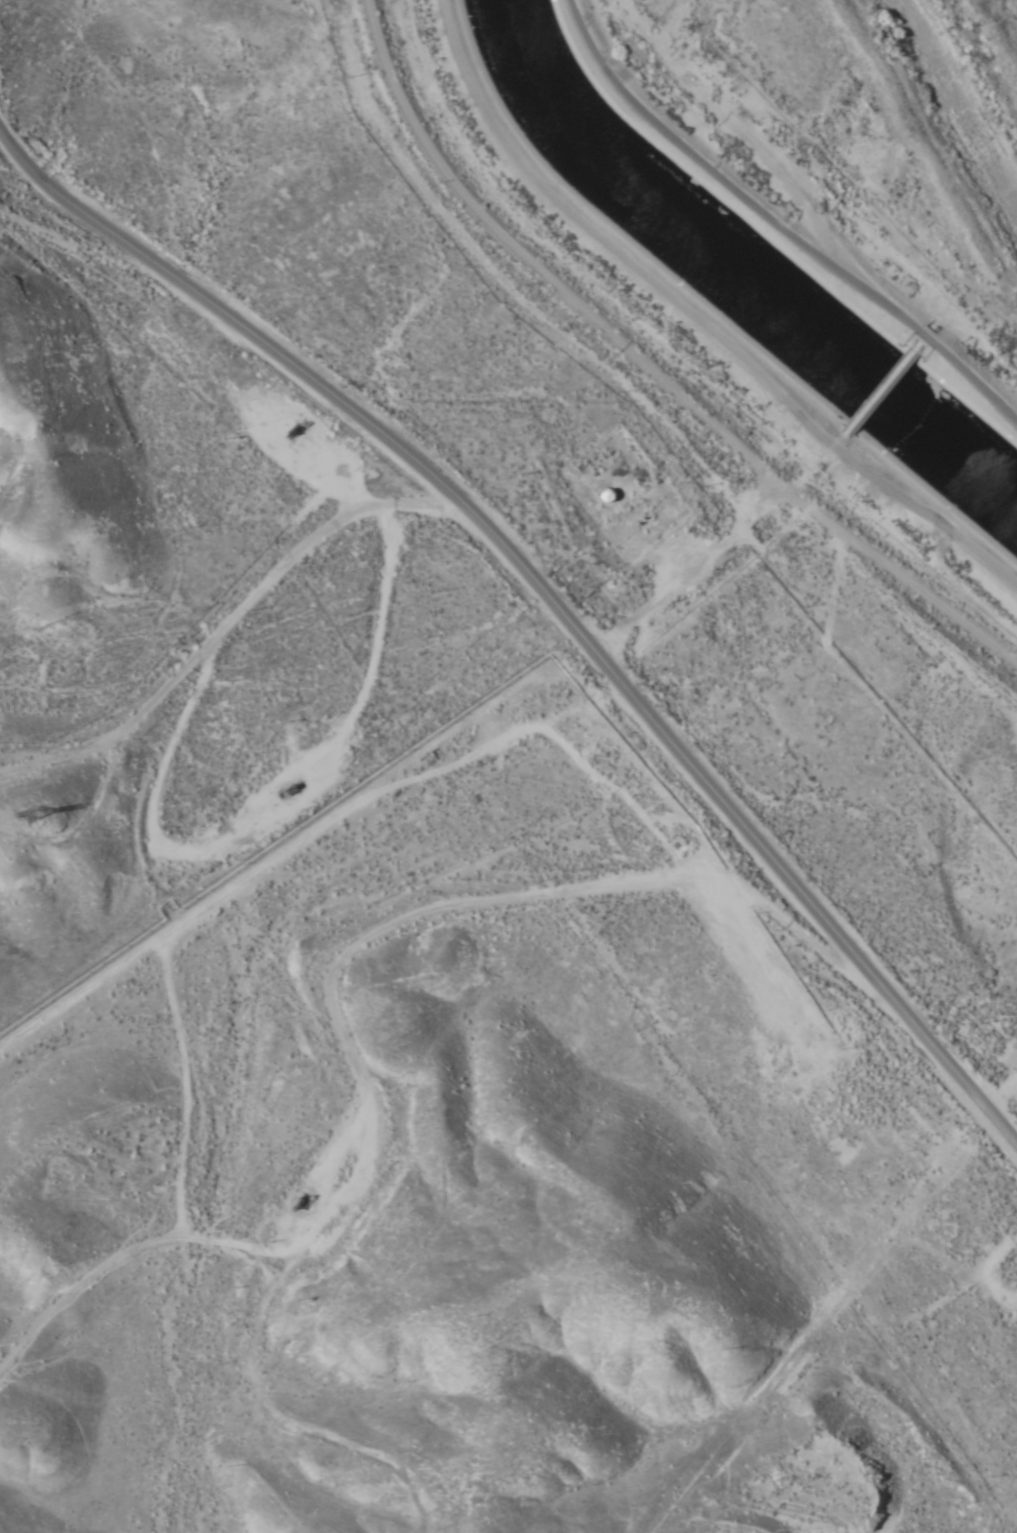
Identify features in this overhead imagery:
road: (792, 217)
road: (107, 265)
road: (693, 343)
road: (648, 368)
road: (986, 416)
building: (608, 495)
road: (535, 580)
road: (223, 627)
road: (414, 794)
power tower: (30, 813)
road: (513, 894)

